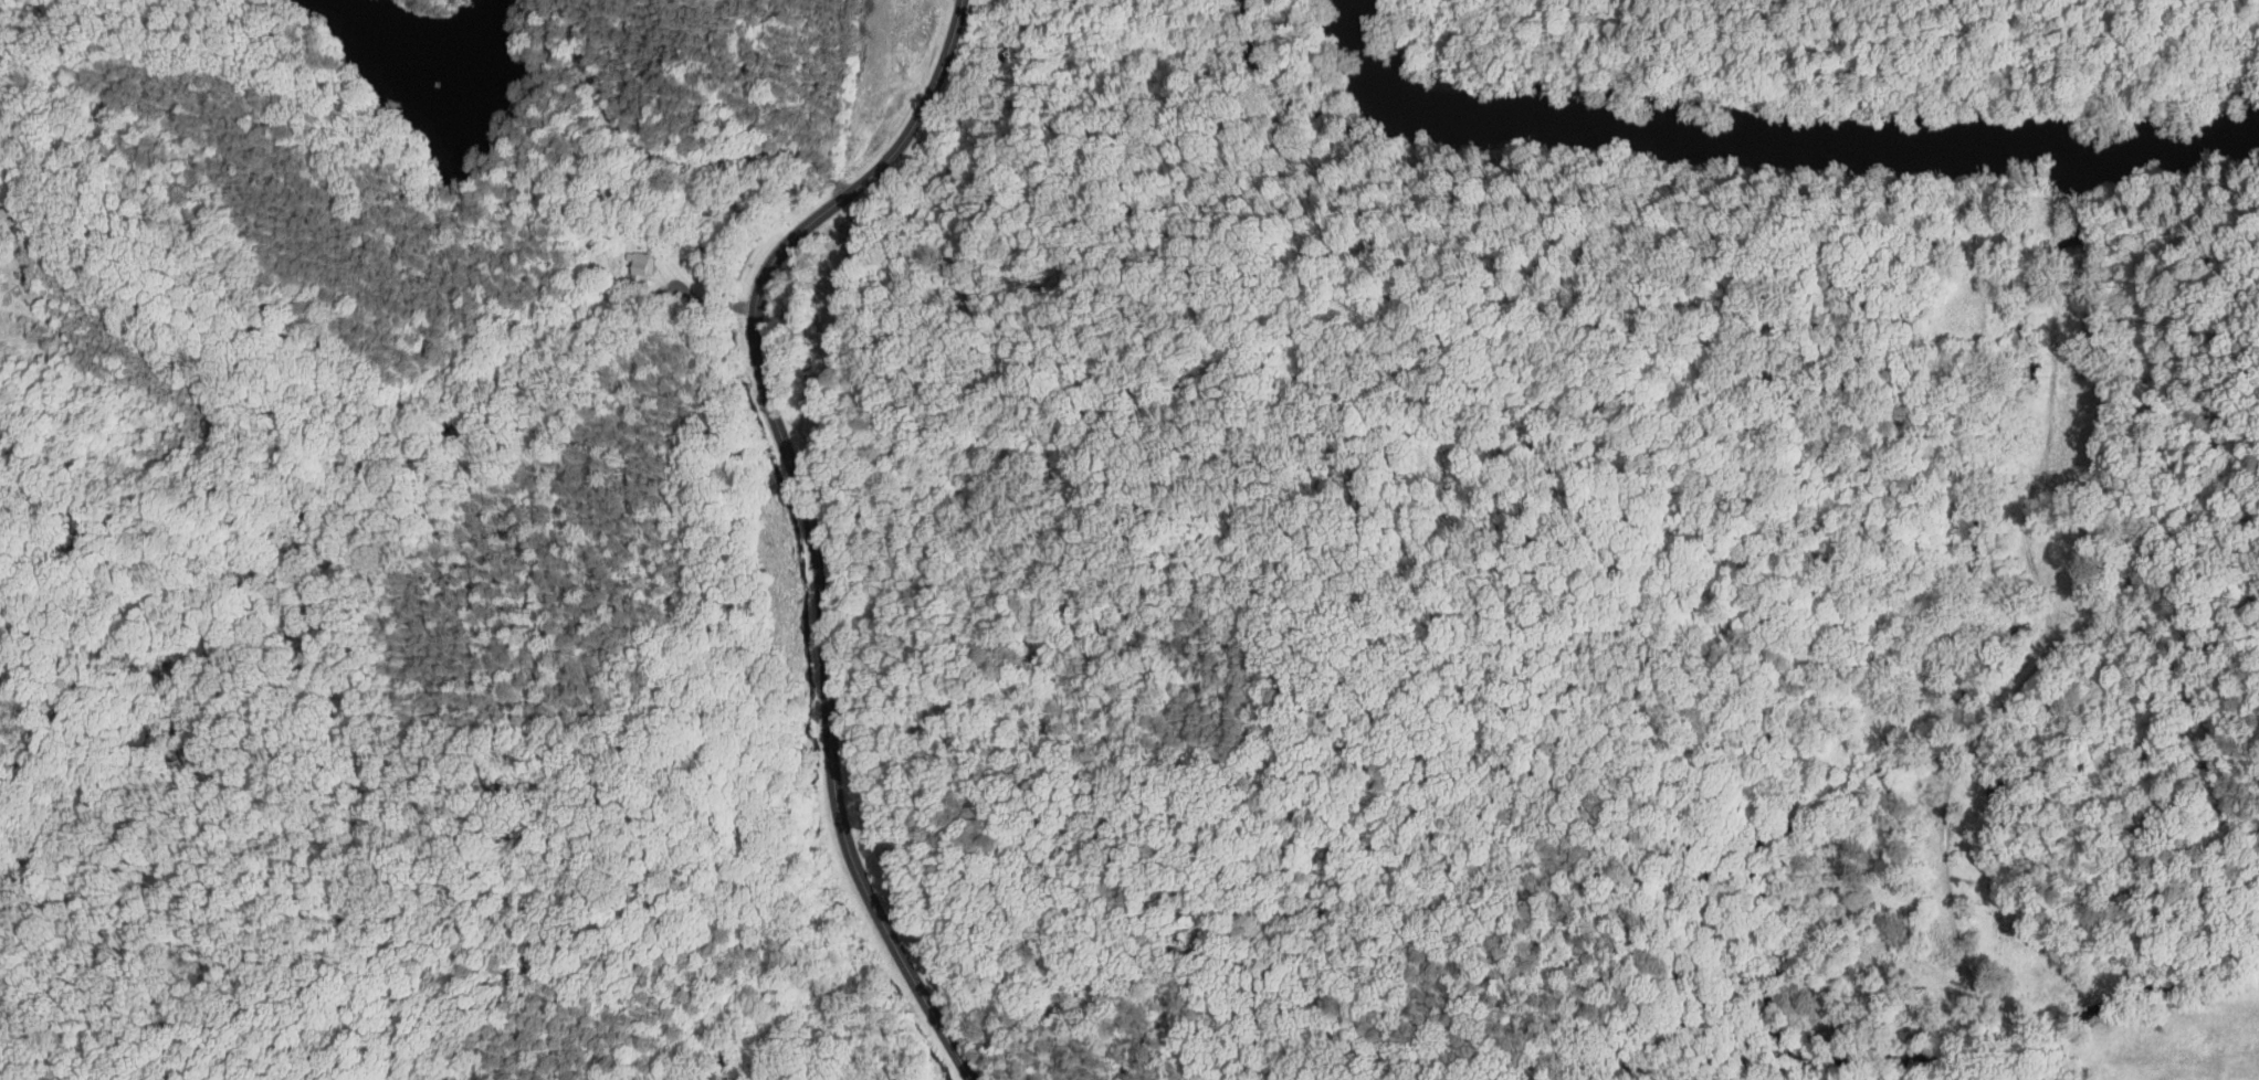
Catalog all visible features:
river: (1362, 57)
river: (1745, 135)
river: (2175, 139)
road: (668, 157)
building: (628, 258)
building: (642, 266)
road: (701, 304)
road: (1462, 310)
road: (2203, 353)
road: (1808, 457)
road: (2029, 494)
road: (807, 515)
road: (1941, 590)
road: (2102, 624)
road: (2214, 633)
road: (2177, 675)
road: (2150, 702)
road: (2195, 741)
building: (1997, 793)
road: (2215, 801)
road: (2249, 826)
road: (1943, 832)
road: (2143, 843)
road: (2051, 875)
building: (1838, 885)
building: (1799, 928)
road: (1295, 960)
road: (1913, 965)
road: (1995, 1049)
road: (2010, 1069)

